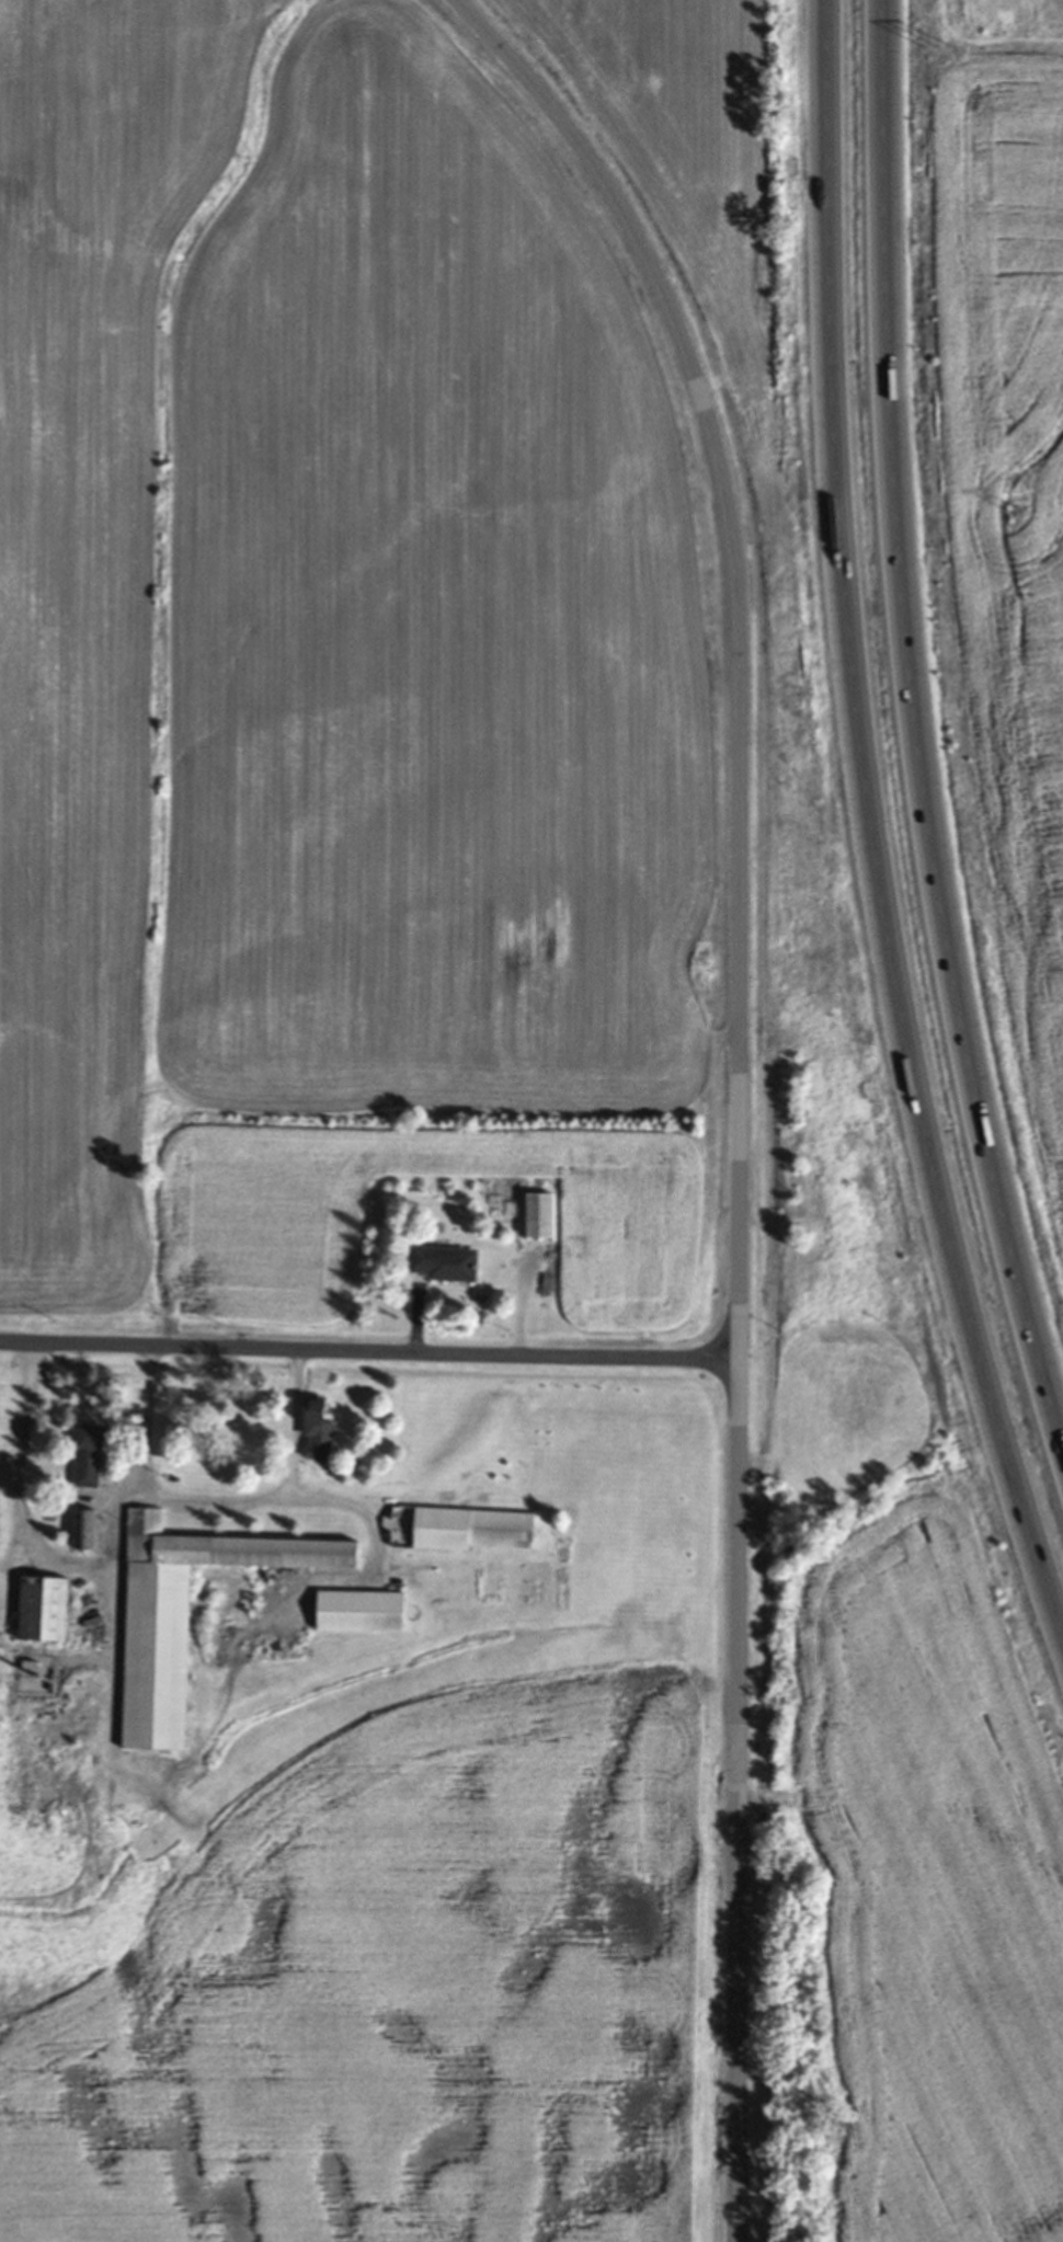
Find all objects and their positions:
power tower: (938, 49)
power tower: (1024, 517)
road: (913, 734)
road: (865, 833)
road: (735, 1082)
building: (541, 1214)
building: (444, 1262)
road: (368, 1349)
building: (319, 1430)
building: (90, 1455)
road: (215, 1501)
road: (31, 1525)
building: (462, 1528)
building: (87, 1530)
road: (375, 1530)
building: (47, 1609)
building: (362, 1612)
building: (186, 1614)
road: (110, 1625)

